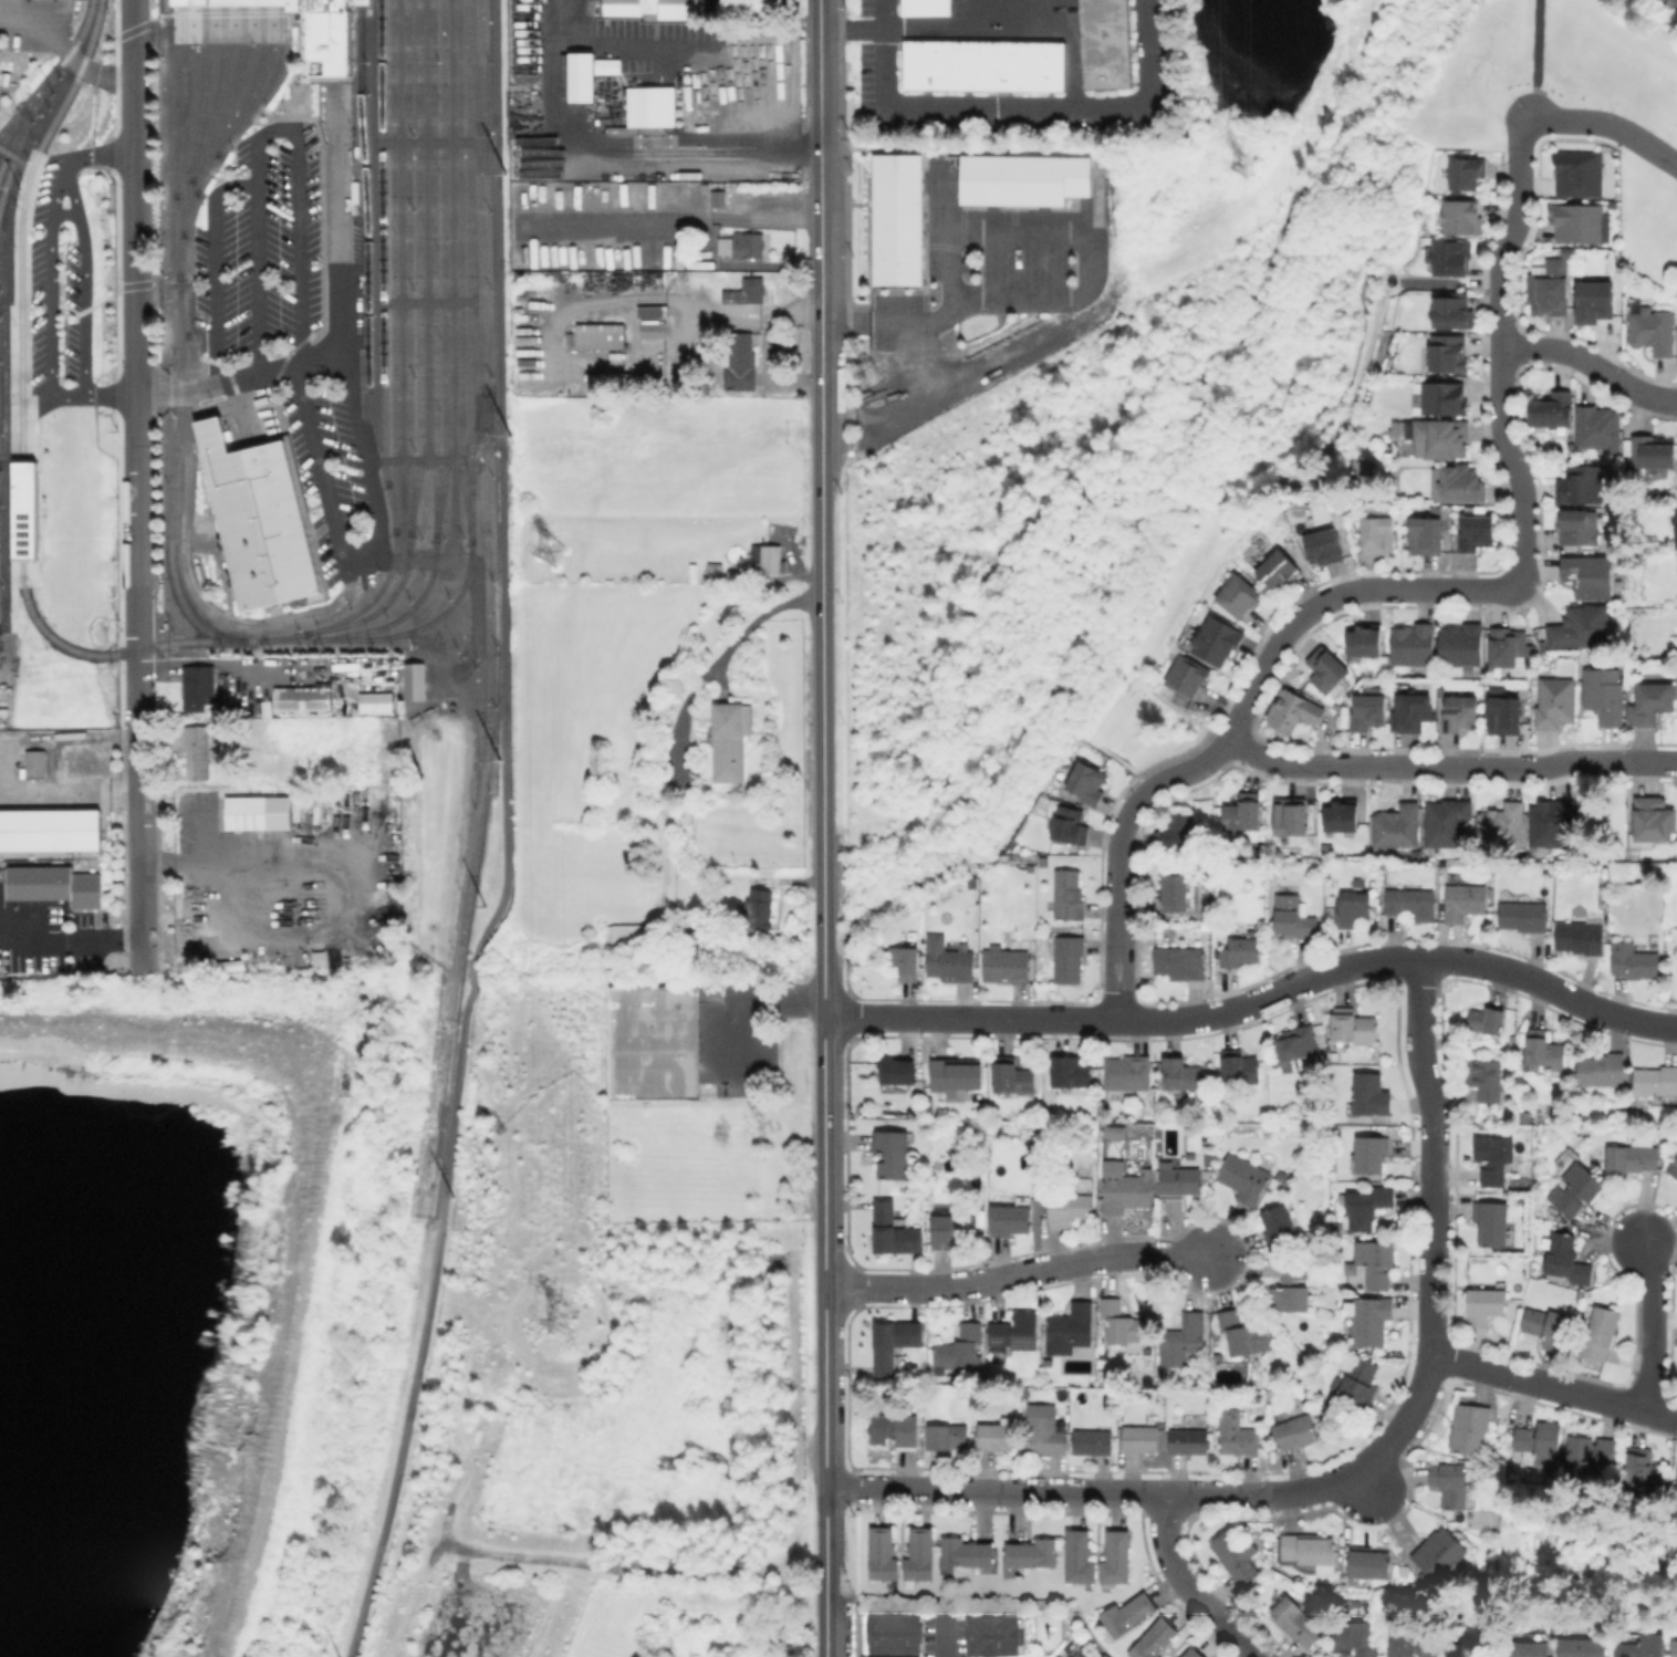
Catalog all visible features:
railway: (180, 2)
railway: (202, 2)
railway: (222, 2)
railway: (241, 2)
railway: (260, 2)
railway: (280, 2)
railway: (357, 2)
building: (769, 7)
building: (925, 7)
building: (655, 8)
road: (217, 21)
road: (971, 28)
road: (854, 30)
building: (312, 32)
building: (752, 32)
building: (1102, 43)
road: (66, 52)
railway: (299, 52)
road: (1540, 59)
building: (981, 65)
railway: (50, 73)
building: (585, 73)
railway: (253, 83)
railway: (269, 86)
railway: (41, 87)
railway: (200, 93)
railway: (216, 94)
railway: (181, 101)
railway: (227, 101)
building: (648, 105)
road: (1024, 106)
railway: (11, 119)
road: (1610, 126)
road: (273, 129)
railway: (13, 137)
road: (424, 140)
railway: (13, 152)
road: (96, 154)
road: (335, 158)
power tower: (1244, 165)
road: (614, 166)
building: (1575, 173)
building: (1465, 174)
building: (1021, 179)
railway: (194, 191)
road: (475, 194)
building: (718, 197)
road: (63, 213)
building: (1462, 217)
building: (895, 219)
railway: (19, 222)
building: (1579, 223)
road: (374, 225)
road: (820, 228)
railway: (180, 229)
road: (425, 229)
railway: (381, 242)
railway: (366, 244)
building: (742, 244)
road: (360, 256)
building: (1449, 258)
building: (670, 263)
railway: (390, 265)
road: (215, 267)
railway: (406, 267)
railway: (416, 267)
railway: (431, 269)
railway: (442, 270)
railway: (467, 271)
railway: (457, 272)
road: (83, 275)
road: (398, 279)
road: (450, 281)
road: (175, 283)
road: (1096, 284)
building: (747, 290)
building: (1550, 290)
road: (49, 294)
road: (6, 301)
road: (425, 301)
building: (1595, 302)
road: (91, 305)
railway: (179, 310)
building: (648, 310)
building: (1454, 311)
building: (653, 327)
building: (1653, 331)
building: (601, 335)
railway: (178, 340)
building: (1445, 352)
road: (767, 353)
building: (739, 361)
road: (1592, 365)
road: (282, 366)
power tower: (869, 373)
railway: (196, 374)
road: (11, 382)
railway: (212, 389)
road: (110, 393)
road: (30, 394)
building: (1441, 400)
building: (1553, 411)
building: (1598, 429)
building: (1440, 437)
railway: (476, 442)
building: (1653, 452)
road: (413, 459)
road: (4, 461)
railway: (3, 476)
building: (1460, 484)
road: (137, 486)
building: (1583, 486)
railway: (226, 499)
railway: (483, 508)
railway: (20, 509)
building: (23, 509)
road: (37, 512)
railway: (254, 512)
rooftop solar panel: (23, 518)
building: (258, 519)
rooftop solar panel: (23, 525)
building: (1674, 528)
building: (1575, 529)
building: (1378, 530)
rooftop solar panel: (23, 534)
building: (1476, 534)
building: (1427, 536)
rooftop solar panel: (22, 544)
building: (1324, 548)
power tower: (551, 551)
rooftop solar panel: (22, 553)
railway: (33, 557)
road: (363, 559)
building: (685, 560)
building: (769, 560)
building: (1280, 572)
building: (739, 574)
building: (1590, 576)
road: (1405, 587)
railway: (320, 593)
road: (191, 594)
building: (1239, 597)
railway: (369, 598)
road: (477, 598)
railway: (378, 606)
railway: (399, 615)
road: (6, 626)
building: (1581, 628)
railway: (383, 635)
building: (1365, 640)
building: (1216, 643)
building: (1414, 646)
building: (1461, 646)
building: (1508, 647)
railway: (101, 654)
road: (717, 656)
railway: (461, 665)
building: (1326, 671)
building: (1187, 679)
building: (412, 680)
building: (198, 687)
building: (1605, 697)
building: (303, 698)
building: (376, 701)
building: (1556, 702)
building: (1653, 705)
rooftop solar panel: (1454, 709)
building: (1369, 710)
building: (1293, 713)
building: (1409, 713)
building: (1460, 716)
building: (1504, 718)
rooftop solar panel: (1444, 722)
road: (822, 736)
building: (729, 740)
building: (198, 751)
building: (33, 763)
road: (1450, 767)
building: (1087, 783)
building: (322, 801)
building: (262, 811)
building: (1241, 816)
building: (1291, 817)
building: (1340, 817)
building: (1652, 822)
building: (1447, 823)
building: (1550, 824)
building: (1069, 825)
building: (1502, 825)
building: (1398, 828)
building: (49, 830)
building: (1176, 834)
road: (507, 837)
building: (1326, 848)
building: (1043, 861)
building: (56, 886)
building: (1175, 892)
building: (1067, 895)
building: (1464, 902)
building: (1410, 903)
building: (1353, 908)
building: (758, 909)
building: (1523, 916)
building: (1291, 921)
building: (1581, 936)
building: (626, 937)
road: (71, 940)
building: (947, 941)
building: (1239, 951)
building: (1069, 958)
building: (1179, 961)
building: (1633, 961)
building: (907, 963)
building: (951, 965)
building: (1007, 966)
road: (739, 998)
road: (1258, 1003)
building: (1487, 1022)
building: (1354, 1025)
building: (652, 1042)
building: (1298, 1042)
building: (1544, 1051)
building: (1239, 1067)
building: (1602, 1070)
building: (898, 1071)
building: (1071, 1071)
building: (1127, 1073)
building: (956, 1074)
building: (1183, 1074)
building: (1012, 1075)
building: (1485, 1080)
building: (1657, 1083)
building: (1371, 1094)
building: (926, 1108)
building: (1524, 1116)
building: (1058, 1119)
building: (1112, 1132)
building: (892, 1154)
building: (1372, 1154)
road: (1431, 1155)
building: (1633, 1156)
building: (1493, 1158)
building: (1673, 1168)
building: (1243, 1177)
building: (1180, 1181)
building: (1124, 1187)
building: (1575, 1187)
building: (1366, 1206)
building: (1070, 1209)
road: (302, 1211)
building: (1010, 1219)
building: (1491, 1222)
building: (1543, 1227)
building: (1279, 1228)
building: (894, 1229)
building: (954, 1230)
road: (823, 1251)
building: (1566, 1258)
building: (1374, 1262)
road: (1018, 1273)
building: (1292, 1286)
quarry: (171, 1298)
building: (1487, 1304)
building: (1123, 1320)
building: (1371, 1320)
power tower: (560, 1322)
road: (1645, 1323)
building: (1549, 1327)
building: (1070, 1328)
building: (1015, 1331)
building: (1601, 1334)
building: (1244, 1335)
building: (1181, 1340)
rooftop solar panel: (994, 1341)
building: (893, 1343)
rooftop solar panel: (1025, 1343)
building: (960, 1348)
building: (1046, 1362)
building: (1358, 1380)
road: (1551, 1388)
building: (1022, 1397)
building: (894, 1429)
building: (1471, 1429)
building: (1044, 1432)
building: (1238, 1432)
building: (1295, 1432)
building: (947, 1436)
building: (996, 1436)
building: (1140, 1438)
building: (1189, 1440)
building: (1093, 1442)
building: (1539, 1445)
building: (1589, 1452)
building: (1643, 1468)
building: (1675, 1479)
building: (1450, 1483)
road: (1367, 1487)
road: (1163, 1492)
road: (824, 1540)
building: (1309, 1549)
building: (966, 1552)
building: (1032, 1553)
building: (1439, 1553)
building: (883, 1554)
building: (920, 1554)
building: (1080, 1556)
building: (1116, 1557)
building: (1236, 1557)
building: (1368, 1563)
road: (1186, 1586)
building: (1128, 1614)
building: (1296, 1622)
road: (825, 1625)
building: (892, 1633)
building: (991, 1635)
road: (948, 1637)
building: (1357, 1637)
building: (1472, 1638)
building: (1155, 1639)
building: (1410, 1643)
building: (1642, 1646)
building: (1582, 1647)
building: (1675, 1648)
building: (1531, 1649)
building: (1192, 1653)

